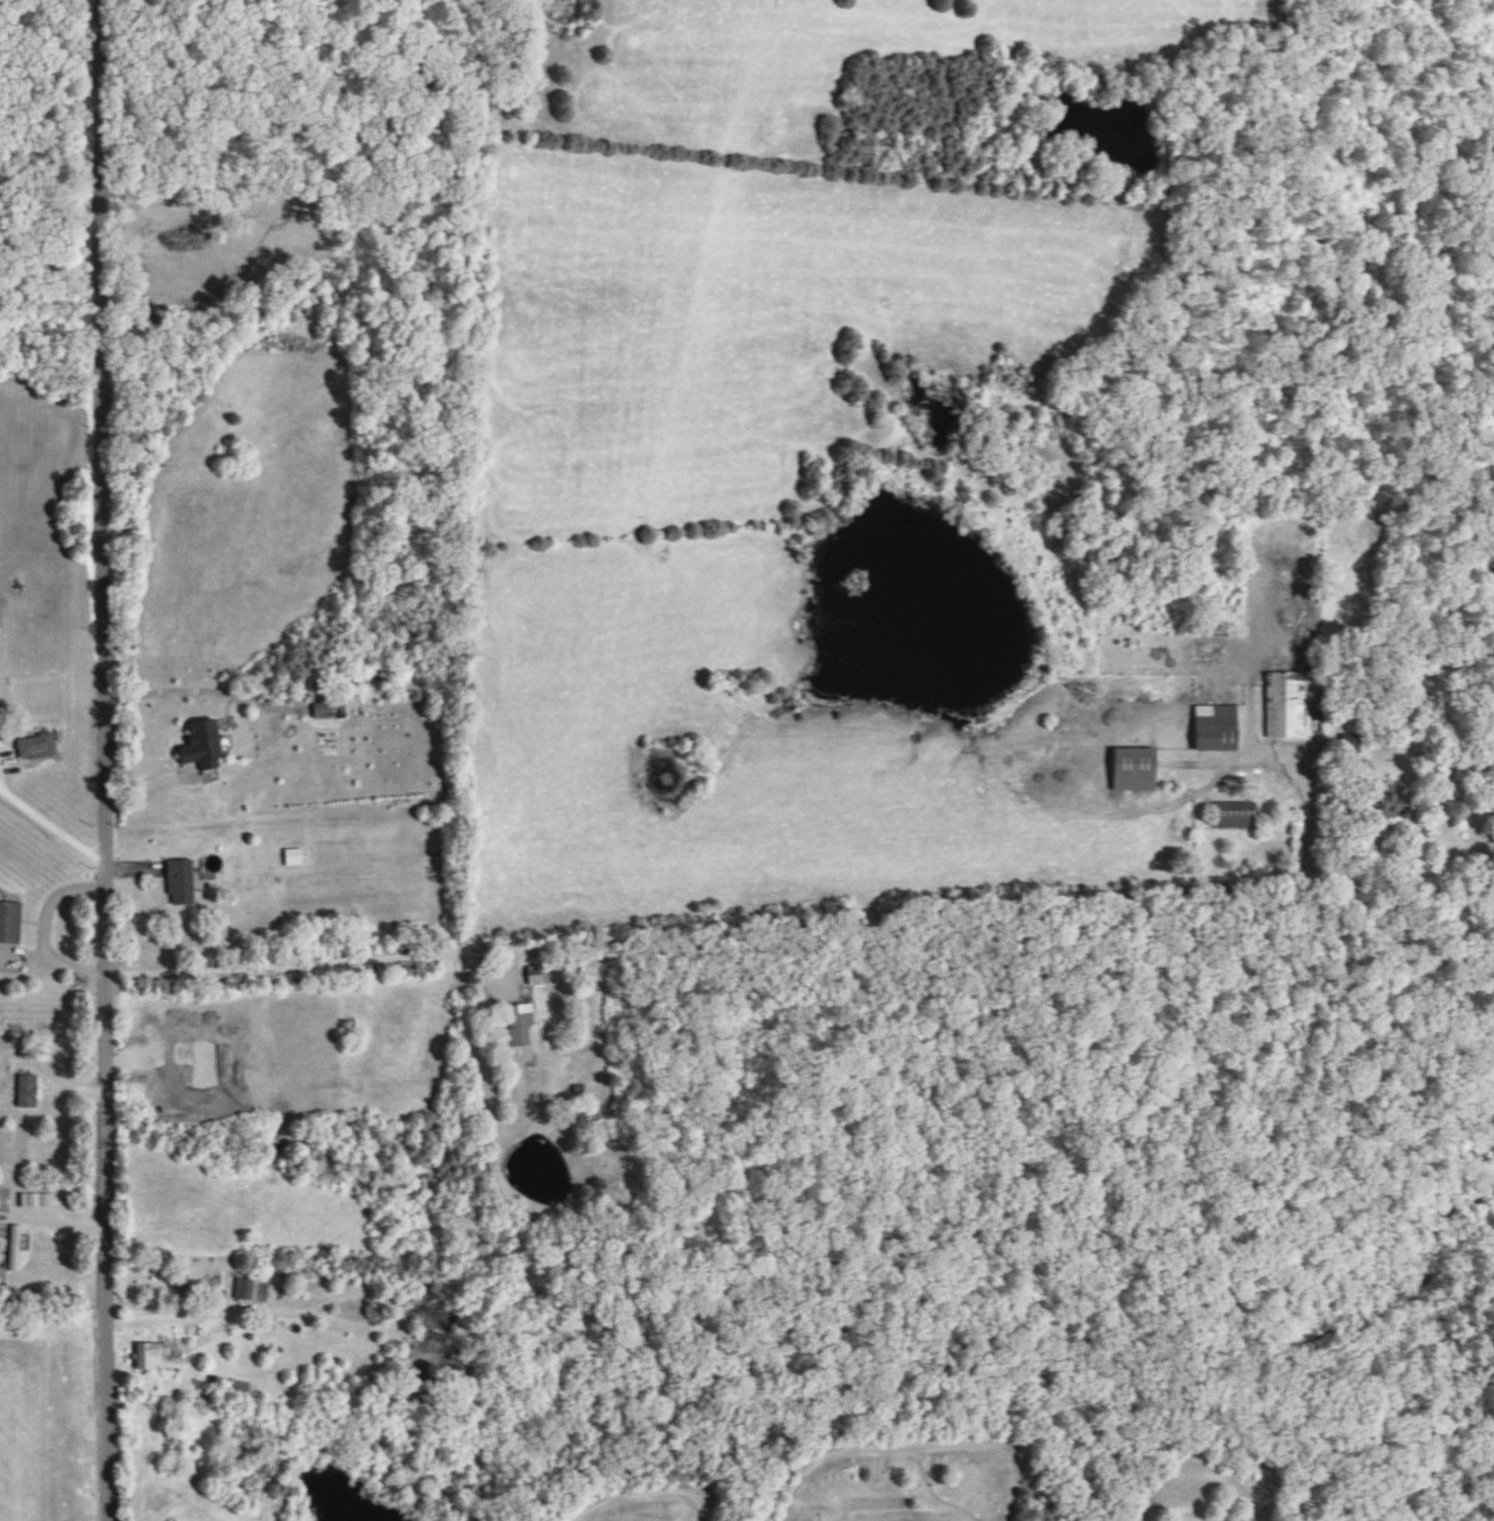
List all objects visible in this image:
road: (198, 686)
building: (1293, 704)
building: (323, 709)
building: (1216, 728)
building: (202, 746)
building: (36, 748)
road: (108, 760)
building: (1134, 770)
building: (1391, 801)
building: (1235, 816)
road: (54, 829)
building: (294, 858)
building: (180, 883)
road: (811, 905)
building: (10, 923)
road: (47, 931)
building: (538, 976)
building: (520, 1027)
building: (28, 1092)
road: (54, 1225)
building: (15, 1249)
building: (251, 1290)
road: (166, 1313)
building: (152, 1357)

